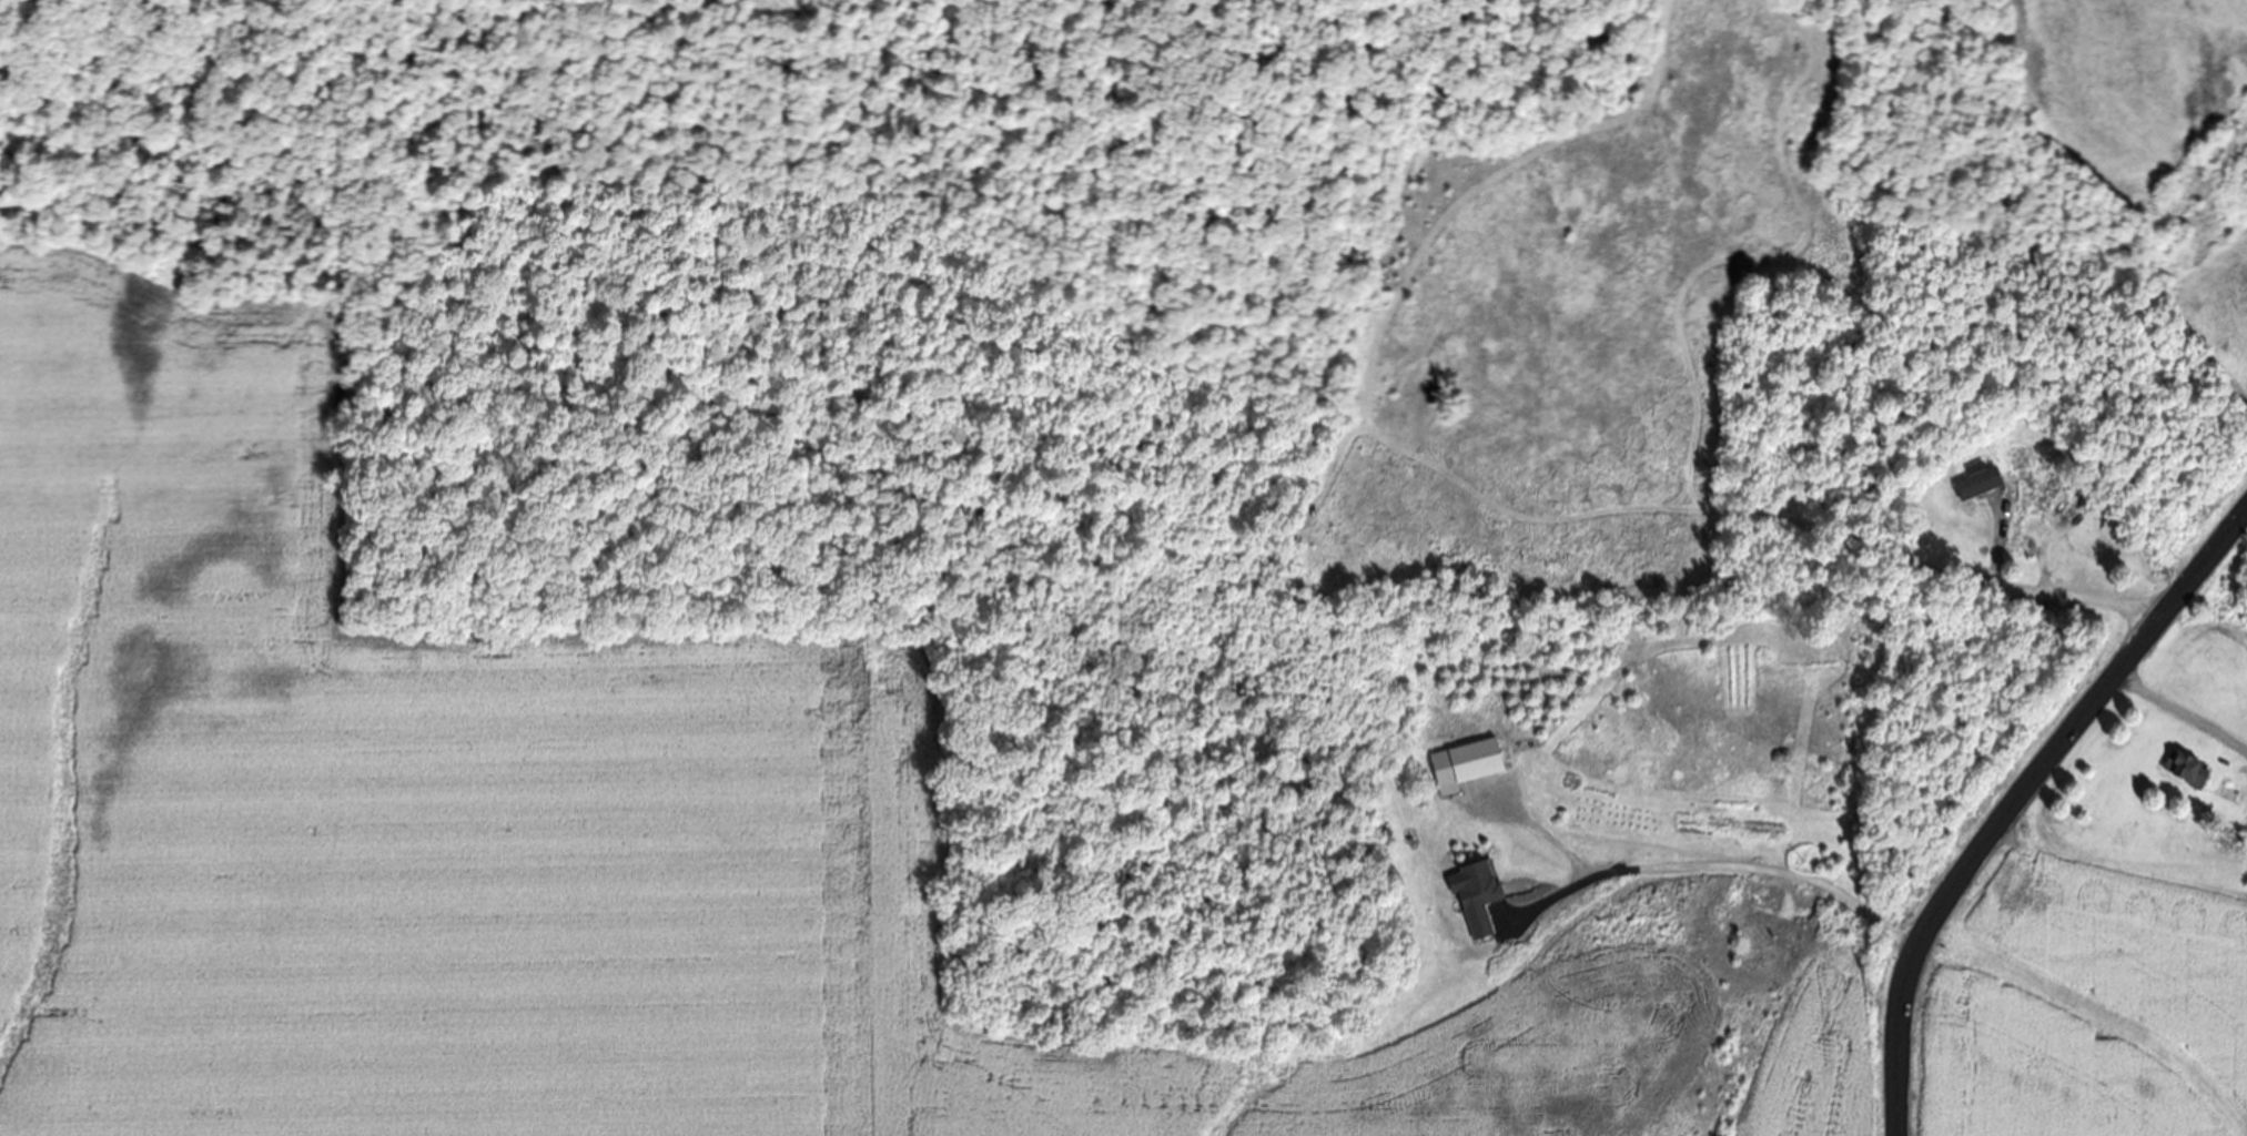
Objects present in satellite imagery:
building: (1975, 486)
road: (1955, 572)
road: (2183, 709)
building: (1464, 769)
building: (2187, 777)
road: (2017, 800)
road: (1712, 871)
building: (1476, 899)

